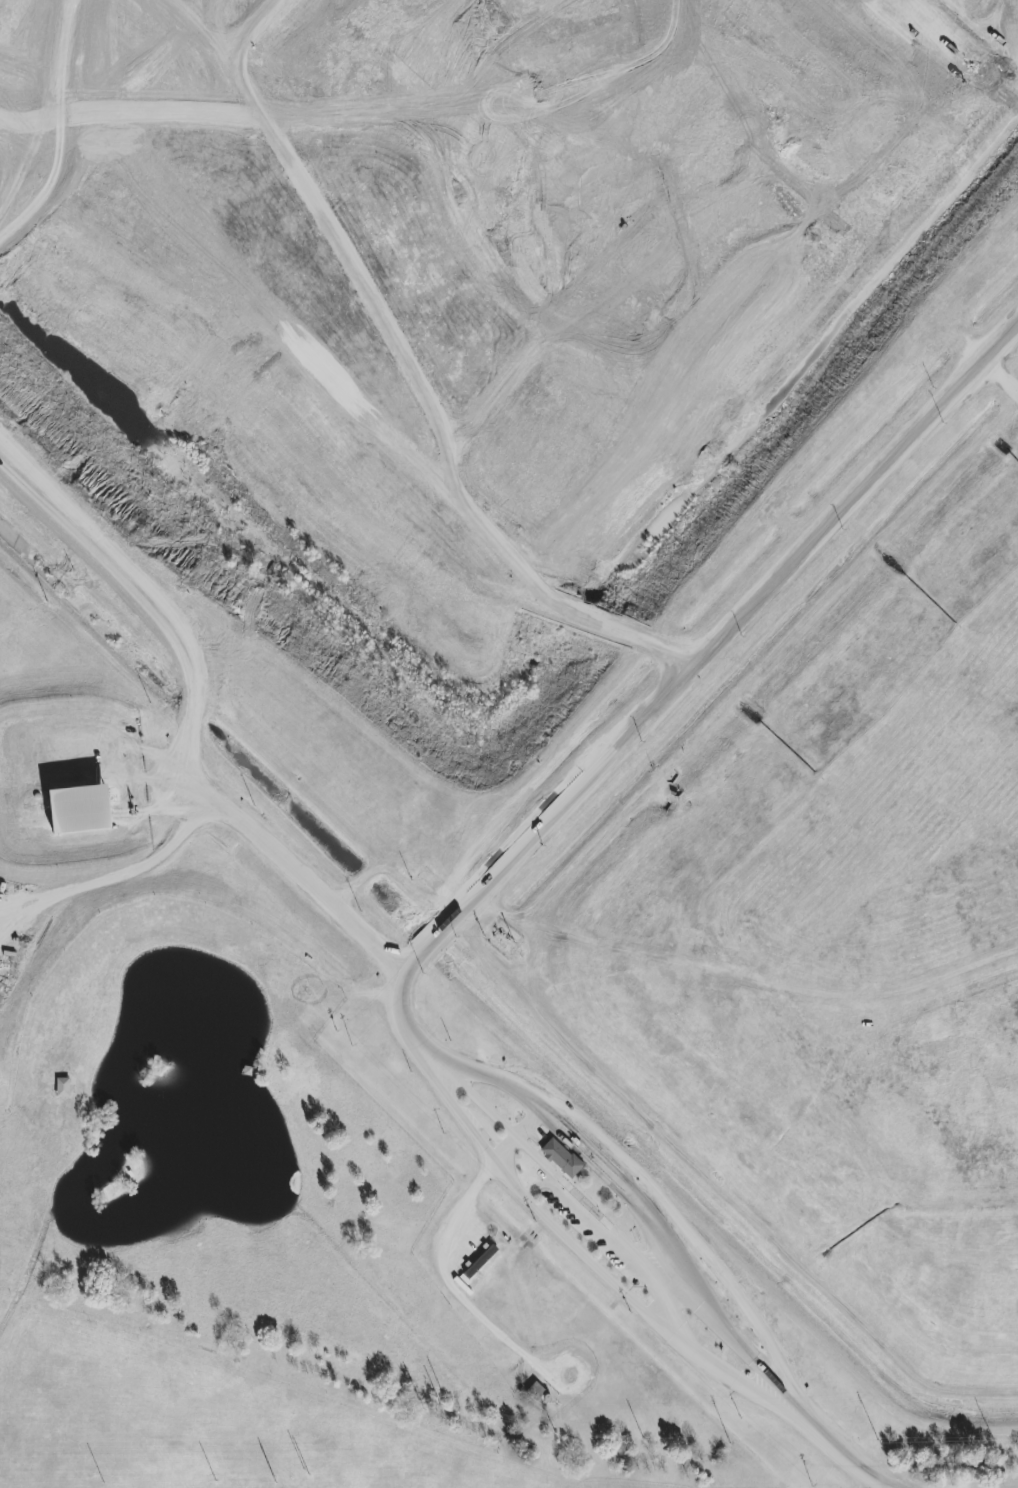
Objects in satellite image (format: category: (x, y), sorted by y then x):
landfill: (588, 540)
road: (196, 712)
building: (80, 809)
road: (134, 870)
road: (452, 923)
road: (744, 978)
road: (518, 1093)
building: (561, 1158)
road: (606, 1236)
road: (443, 1278)
building: (535, 1391)

